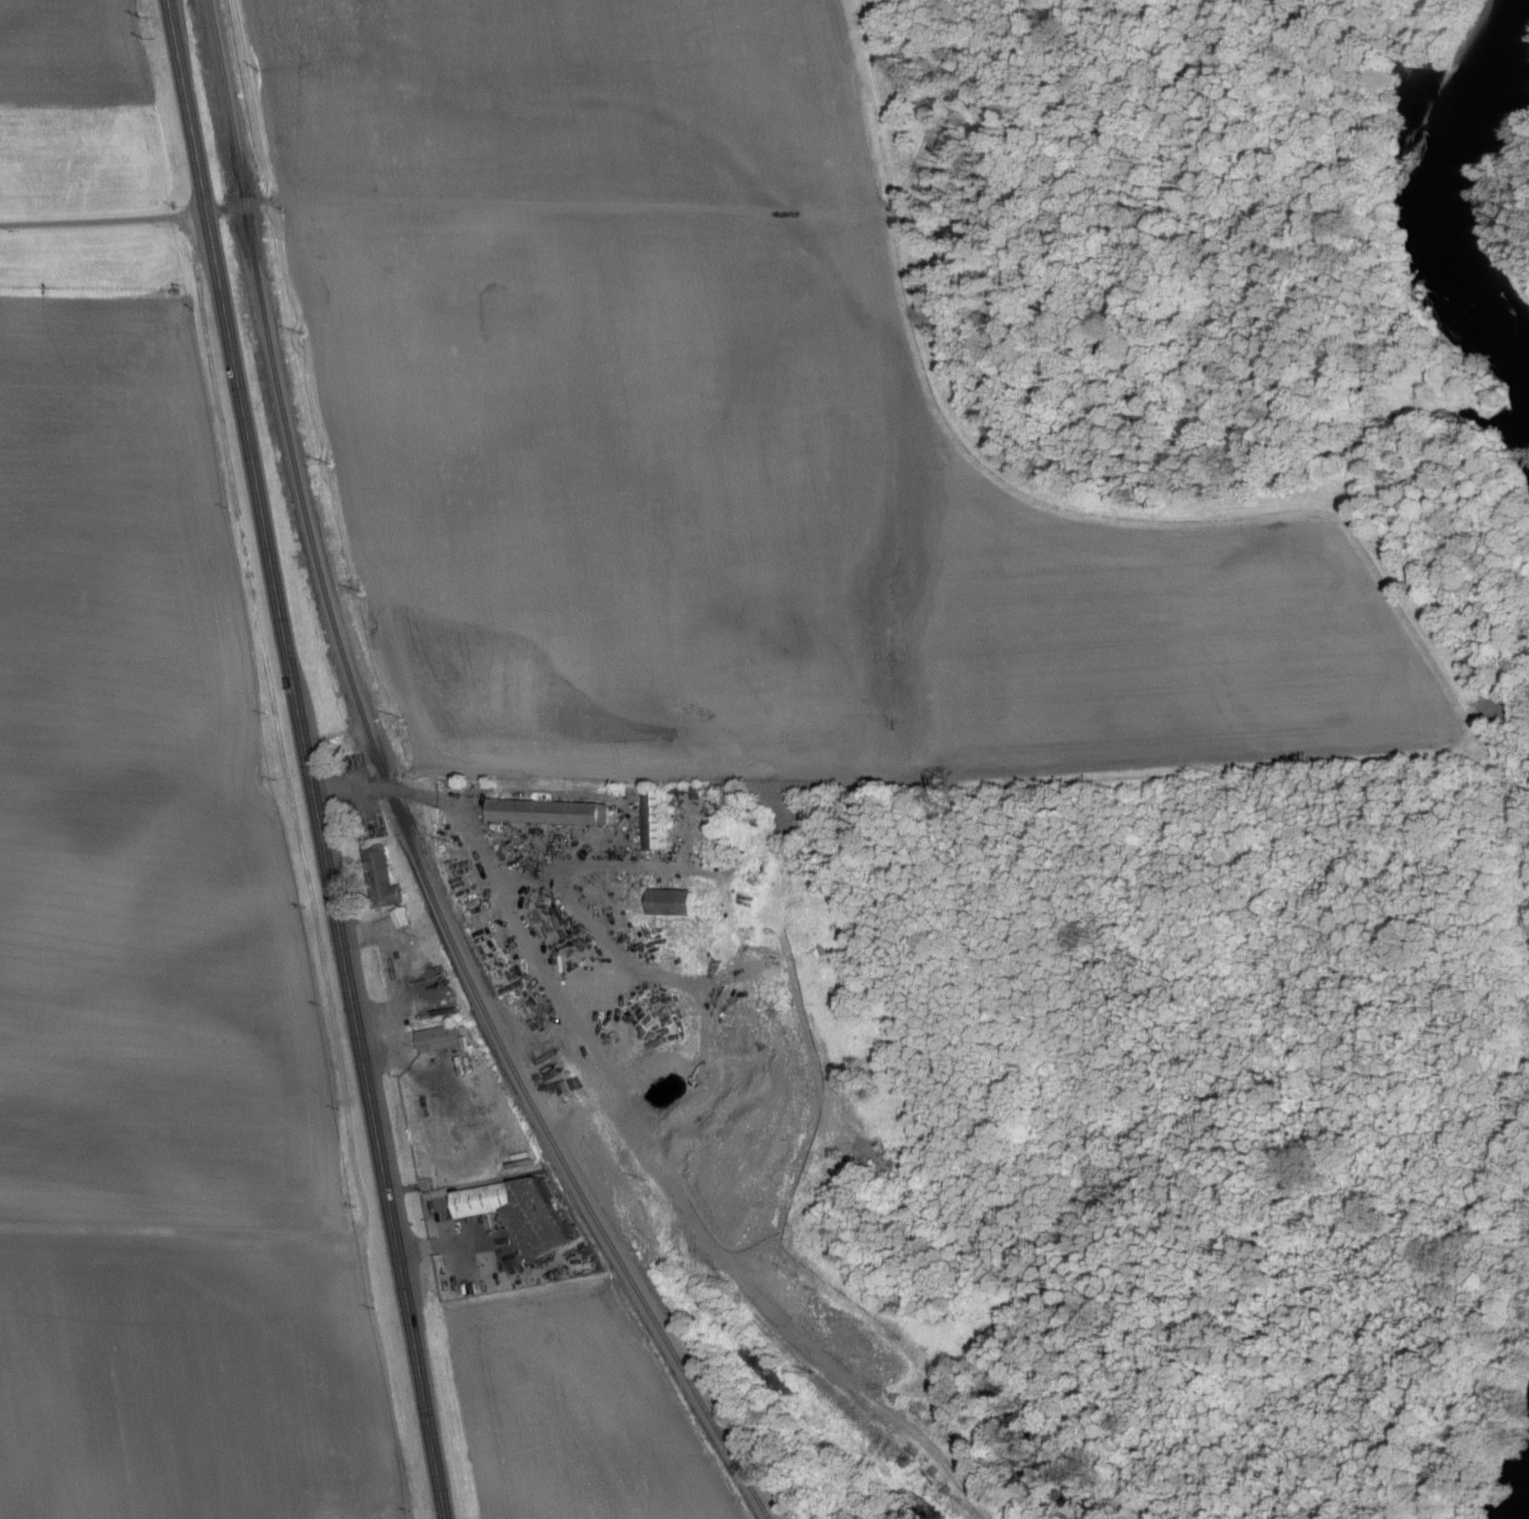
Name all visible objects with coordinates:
river: (1428, 163)
road: (104, 222)
road: (308, 759)
railway: (392, 794)
building: (551, 811)
building: (657, 819)
road: (499, 854)
building: (386, 878)
road: (312, 901)
building: (673, 902)
building: (404, 918)
building: (440, 1038)
building: (522, 1212)
road: (453, 1241)

